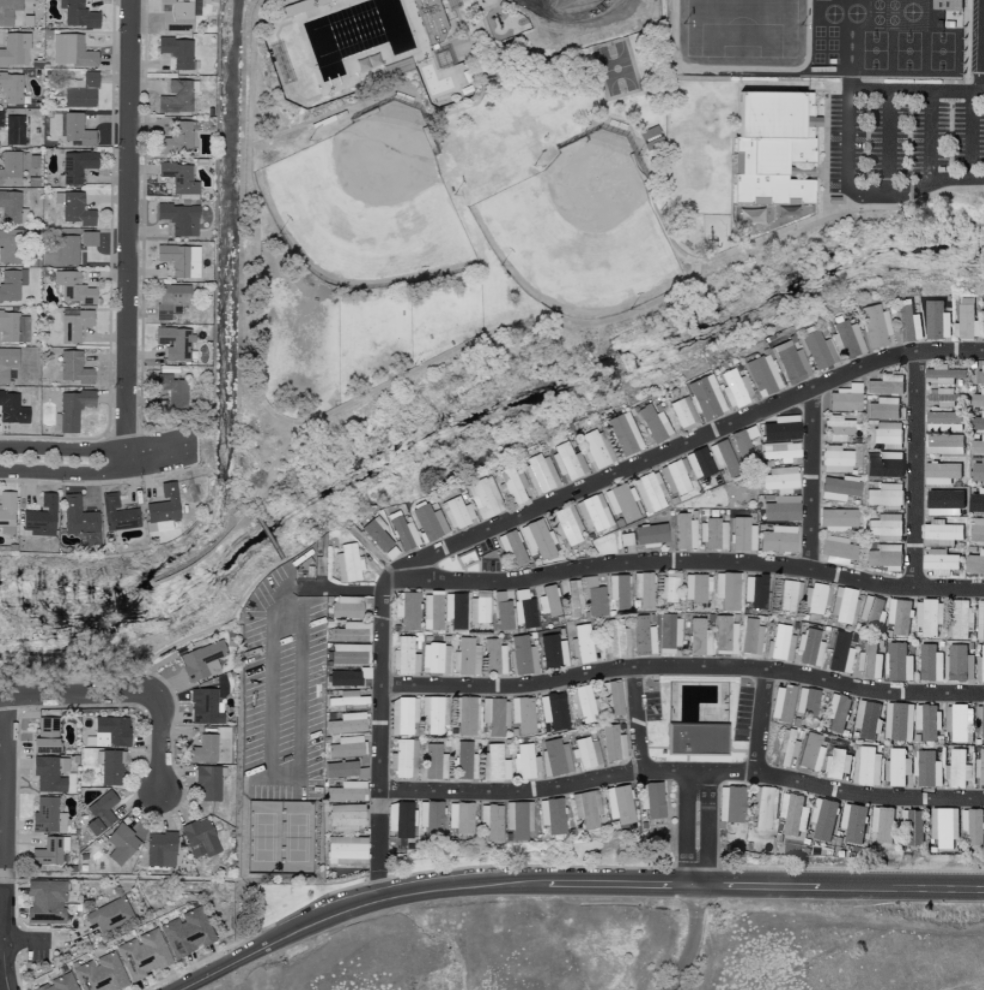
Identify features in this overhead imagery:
building: (330, 1)
building: (945, 4)
road: (490, 7)
building: (549, 8)
building: (8, 11)
building: (175, 13)
building: (80, 14)
building: (430, 21)
park: (741, 33)
road: (542, 36)
parking lot: (977, 42)
building: (16, 49)
road: (484, 49)
building: (73, 50)
building: (175, 51)
park: (616, 68)
road: (591, 79)
road: (983, 84)
building: (12, 87)
building: (82, 90)
building: (174, 96)
road: (418, 101)
road: (601, 113)
building: (1, 118)
building: (16, 129)
building: (78, 130)
road: (578, 132)
road: (432, 135)
road: (930, 137)
road: (971, 137)
building: (650, 138)
building: (174, 139)
parking lot: (904, 140)
road: (846, 143)
road: (887, 144)
building: (772, 148)
building: (79, 165)
building: (11, 168)
park: (462, 177)
building: (177, 179)
road: (915, 199)
building: (832, 200)
road: (853, 202)
building: (11, 206)
park: (367, 206)
building: (76, 208)
building: (177, 218)
park: (579, 232)
road: (126, 236)
building: (90, 238)
building: (10, 246)
building: (69, 249)
building: (177, 259)
building: (12, 284)
building: (75, 288)
building: (171, 294)
building: (965, 320)
building: (983, 320)
building: (935, 321)
building: (904, 322)
building: (871, 325)
building: (9, 326)
building: (76, 326)
building: (24, 329)
building: (173, 342)
building: (791, 342)
building: (829, 344)
building: (787, 362)
building: (8, 363)
building: (76, 367)
building: (939, 374)
building: (759, 375)
building: (979, 376)
building: (885, 385)
building: (170, 390)
road: (372, 392)
building: (715, 393)
building: (941, 397)
building: (842, 398)
building: (977, 399)
building: (13, 408)
building: (882, 408)
building: (74, 410)
building: (680, 413)
building: (942, 421)
building: (976, 422)
building: (649, 423)
building: (777, 428)
building: (837, 428)
building: (620, 433)
building: (886, 434)
road: (684, 442)
building: (741, 443)
building: (943, 444)
building: (976, 445)
road: (92, 449)
building: (592, 449)
building: (777, 450)
building: (718, 453)
building: (834, 459)
building: (696, 462)
building: (881, 467)
road: (914, 469)
road: (269, 470)
building: (976, 471)
road: (93, 473)
building: (537, 473)
building: (939, 473)
building: (673, 477)
road: (808, 478)
building: (777, 479)
building: (510, 485)
building: (837, 487)
building: (648, 492)
building: (884, 496)
building: (975, 501)
building: (619, 502)
building: (165, 507)
building: (778, 509)
building: (8, 512)
building: (453, 512)
building: (591, 513)
building: (118, 514)
building: (79, 516)
building: (43, 517)
building: (836, 519)
building: (425, 522)
building: (884, 527)
building: (976, 529)
building: (682, 531)
building: (942, 532)
building: (400, 533)
building: (647, 534)
building: (710, 534)
building: (740, 534)
building: (377, 538)
building: (535, 538)
road: (269, 539)
building: (623, 539)
building: (775, 539)
building: (509, 547)
building: (836, 550)
building: (882, 557)
road: (691, 560)
building: (938, 561)
building: (346, 563)
building: (973, 563)
road: (385, 578)
building: (667, 587)
building: (695, 587)
road: (339, 589)
building: (617, 590)
building: (642, 590)
building: (727, 590)
building: (754, 591)
building: (788, 594)
building: (593, 598)
building: (814, 599)
building: (560, 600)
building: (343, 606)
building: (843, 606)
building: (478, 608)
building: (405, 610)
building: (453, 610)
building: (431, 611)
building: (501, 612)
building: (871, 612)
building: (526, 613)
building: (900, 616)
building: (930, 618)
building: (961, 619)
building: (980, 620)
road: (207, 629)
building: (348, 632)
building: (667, 632)
building: (724, 635)
building: (642, 636)
building: (750, 636)
building: (615, 637)
building: (698, 637)
building: (580, 644)
building: (778, 644)
building: (808, 647)
building: (835, 651)
building: (550, 652)
building: (405, 655)
building: (519, 656)
building: (450, 657)
building: (491, 657)
building: (203, 661)
building: (884, 662)
building: (930, 663)
building: (959, 663)
building: (980, 666)
road: (682, 667)
road: (269, 681)
road: (296, 696)
building: (611, 698)
road: (73, 700)
building: (582, 703)
building: (791, 703)
building: (206, 706)
building: (551, 712)
building: (836, 713)
building: (435, 714)
building: (401, 715)
building: (522, 715)
building: (463, 716)
building: (494, 716)
road: (635, 718)
building: (867, 719)
building: (899, 721)
building: (980, 721)
road: (758, 722)
building: (346, 723)
building: (926, 723)
building: (960, 723)
road: (378, 730)
building: (113, 731)
building: (49, 735)
building: (693, 740)
road: (161, 743)
building: (610, 743)
building: (346, 746)
building: (788, 747)
building: (207, 749)
building: (585, 752)
building: (810, 753)
building: (553, 757)
building: (405, 758)
building: (461, 760)
building: (525, 761)
building: (434, 762)
building: (494, 763)
building: (63, 764)
building: (836, 764)
building: (866, 765)
building: (112, 766)
building: (912, 769)
building: (958, 769)
building: (980, 769)
building: (342, 770)
road: (680, 772)
building: (49, 775)
road: (5, 781)
building: (209, 783)
building: (649, 799)
building: (617, 804)
building: (728, 804)
building: (763, 805)
building: (585, 808)
building: (105, 812)
building: (793, 814)
building: (345, 815)
building: (49, 816)
building: (460, 817)
building: (550, 817)
building: (399, 819)
building: (822, 819)
building: (431, 820)
building: (517, 820)
building: (852, 822)
building: (492, 823)
building: (881, 825)
building: (912, 826)
building: (973, 826)
building: (943, 827)
road: (684, 830)
road: (703, 830)
park: (280, 837)
building: (202, 838)
building: (123, 844)
building: (344, 848)
building: (162, 849)
building: (51, 851)
road: (3, 876)
road: (377, 885)
road: (621, 886)
road: (757, 887)
road: (902, 888)
road: (400, 897)
building: (48, 901)
building: (110, 914)
building: (190, 932)
road: (689, 939)
road: (19, 940)
road: (3, 942)
building: (146, 954)
road: (221, 969)
building: (102, 974)
road: (691, 975)
building: (62, 983)
road: (968, 986)

